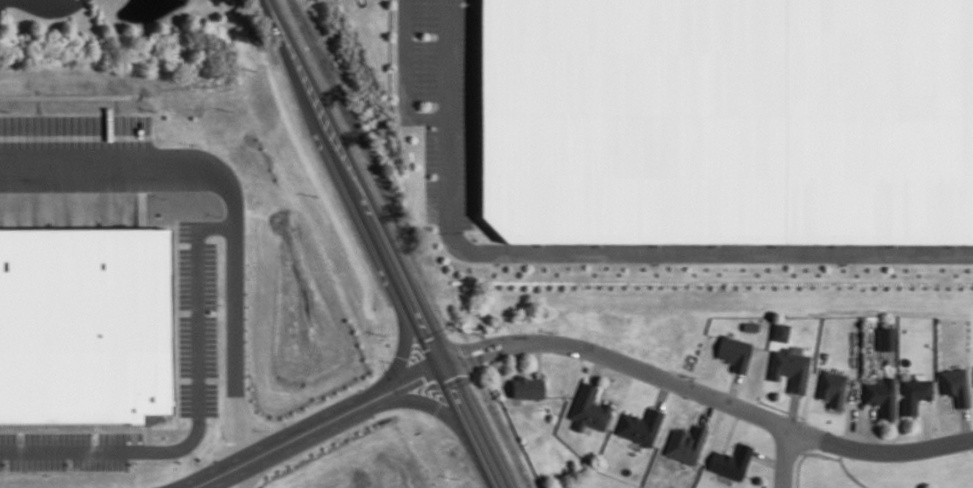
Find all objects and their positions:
parking lot: (425, 15)
street lamp: (396, 37)
parking lot: (425, 69)
road: (405, 79)
street lamp: (396, 100)
building: (727, 120)
parking lot: (431, 149)
parking lot: (431, 200)
road: (223, 215)
road: (385, 244)
road: (592, 250)
building: (77, 316)
building: (780, 332)
building: (884, 339)
road: (481, 342)
building: (733, 352)
road: (484, 354)
road: (536, 358)
road: (597, 368)
building: (789, 368)
road: (660, 377)
building: (954, 385)
building: (527, 388)
building: (831, 388)
building: (912, 392)
road: (662, 393)
building: (880, 397)
road: (184, 406)
building: (588, 409)
road: (706, 410)
road: (335, 413)
road: (849, 417)
building: (639, 426)
road: (731, 428)
road: (869, 428)
building: (684, 445)
road: (881, 451)
road: (804, 455)
road: (785, 458)
road: (767, 459)
building: (730, 461)
road: (846, 470)
road: (203, 476)
road: (227, 476)

